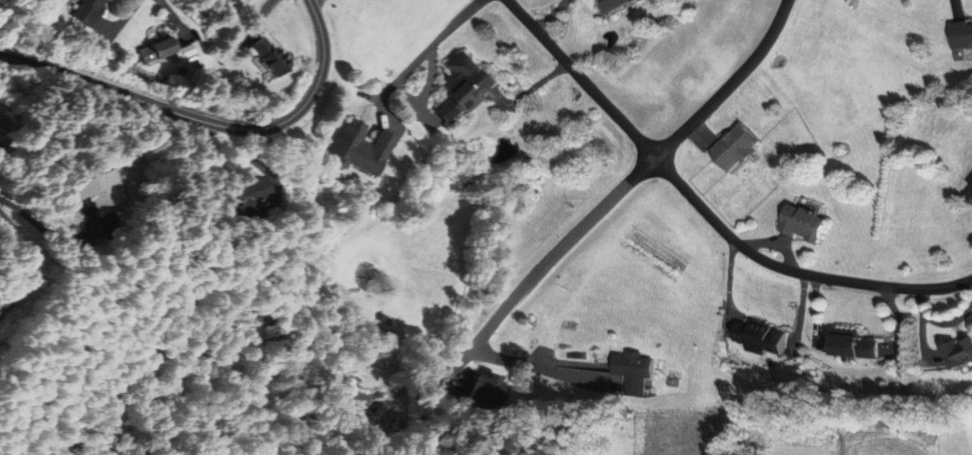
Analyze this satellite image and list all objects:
building: (619, 4)
building: (92, 11)
building: (961, 35)
road: (429, 50)
building: (169, 52)
building: (273, 58)
road: (582, 79)
building: (464, 88)
road: (208, 121)
building: (735, 148)
building: (366, 149)
road: (626, 186)
building: (108, 191)
building: (263, 191)
building: (804, 224)
road: (24, 264)
road: (793, 271)
building: (758, 338)
building: (856, 347)
building: (959, 356)
building: (638, 373)
building: (487, 388)
building: (361, 401)

